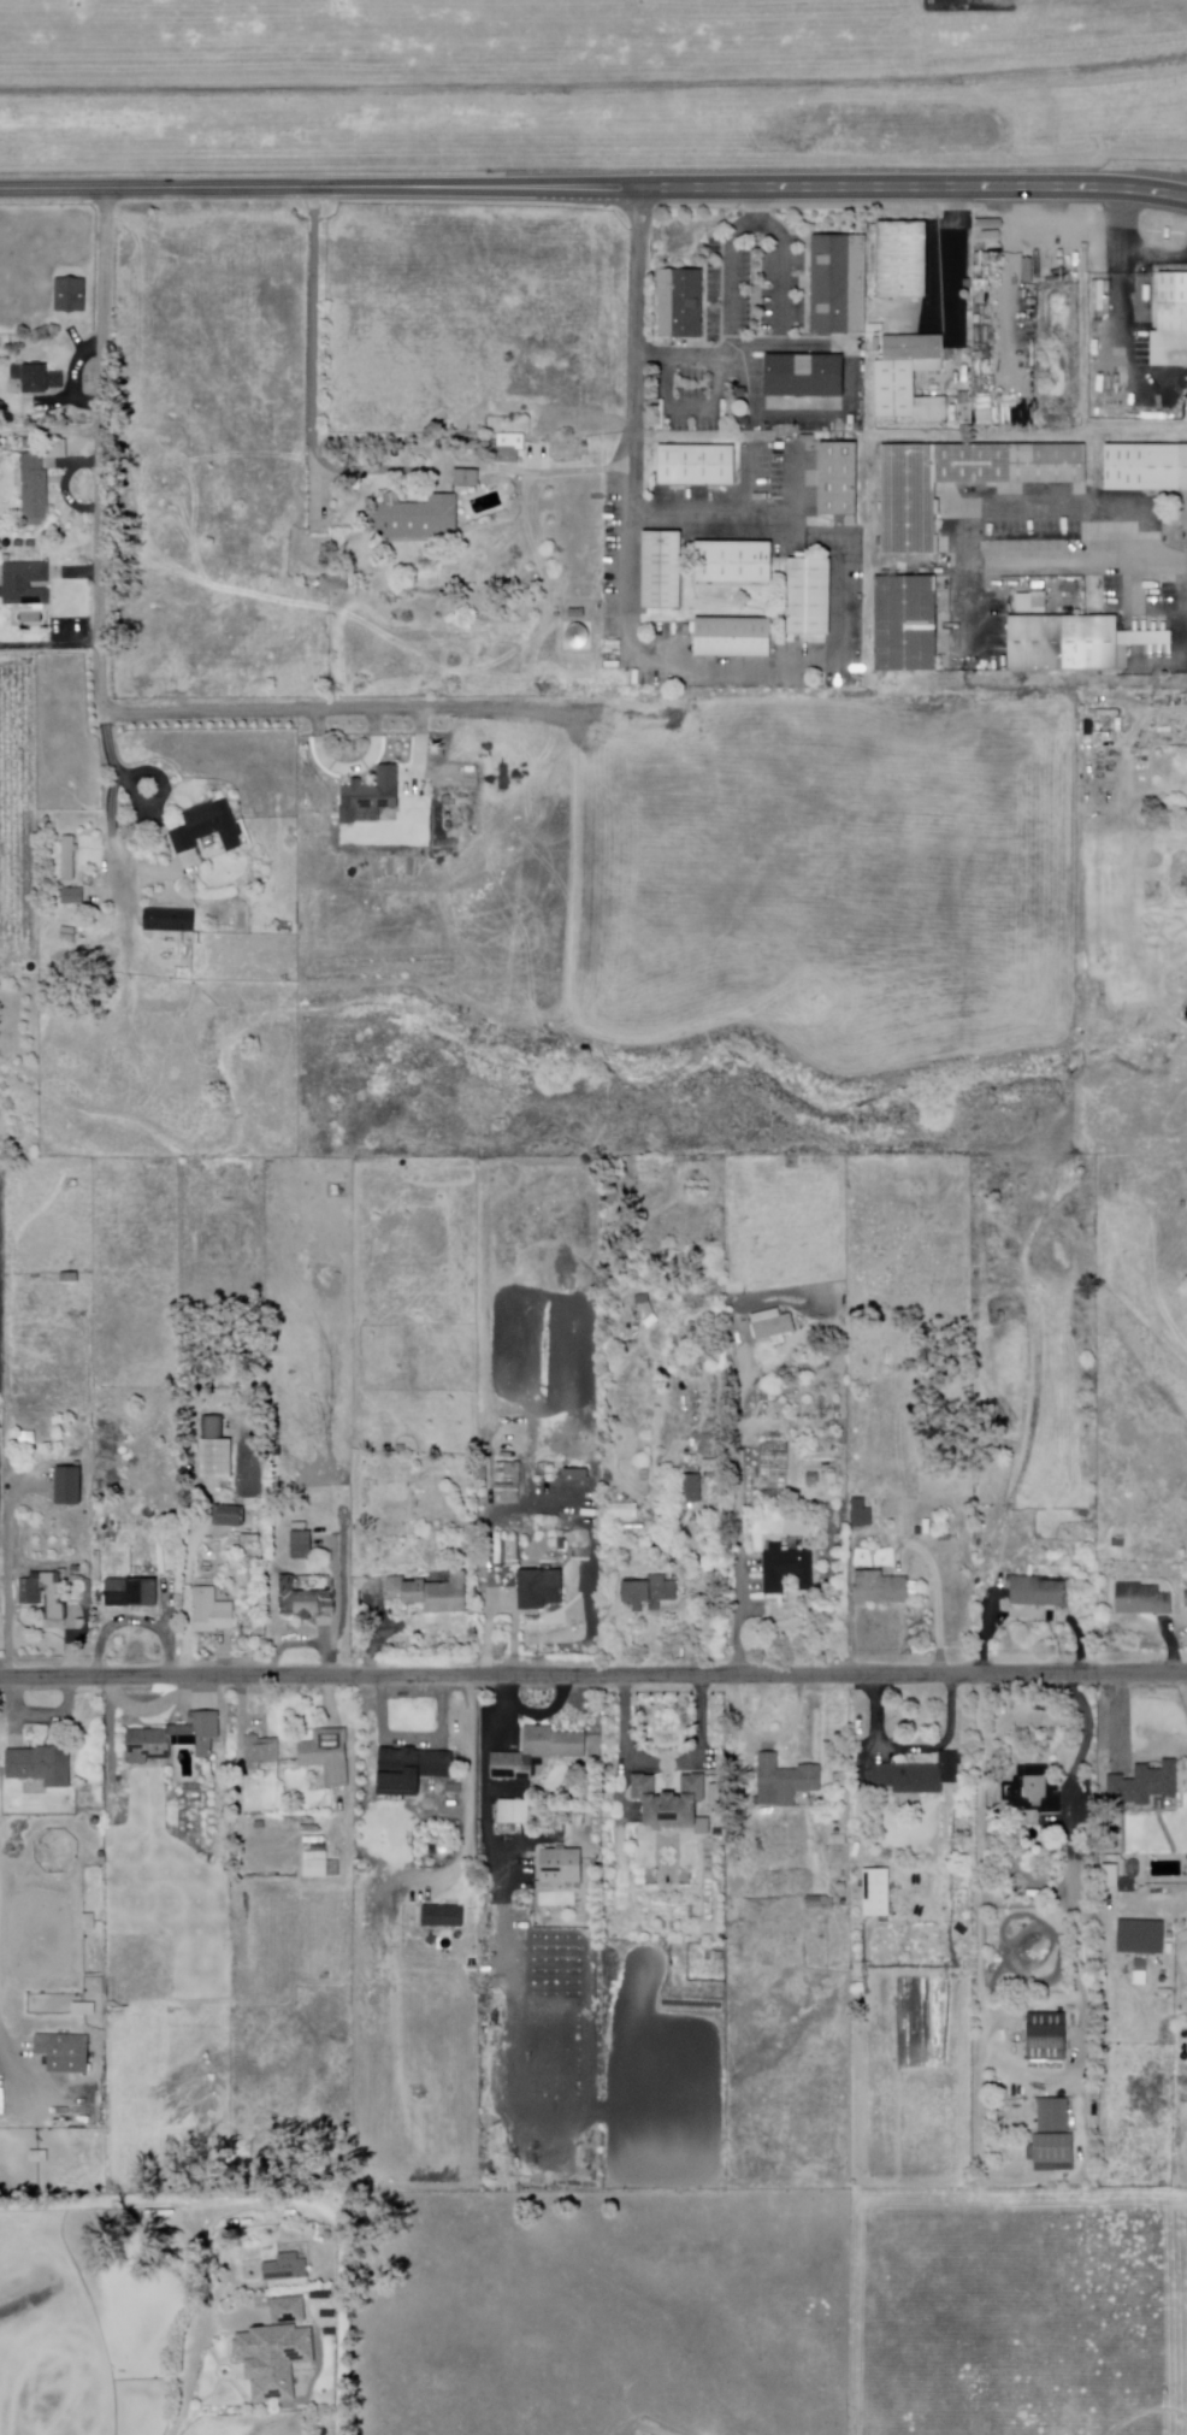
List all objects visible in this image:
airport: (589, 82)
road: (593, 84)
road: (593, 188)
building: (902, 260)
building: (839, 285)
building: (70, 295)
building: (1144, 299)
building: (680, 303)
building: (1171, 322)
road: (637, 348)
building: (804, 376)
building: (36, 378)
building: (908, 378)
road: (313, 383)
building: (1116, 400)
building: (1186, 405)
building: (738, 411)
building: (986, 412)
building: (515, 448)
building: (961, 464)
building: (1009, 464)
building: (1059, 464)
building: (696, 466)
building: (1146, 467)
building: (466, 479)
building: (839, 482)
building: (34, 485)
building: (909, 500)
road: (1016, 505)
building: (417, 518)
road: (104, 548)
road: (1057, 560)
road: (1165, 560)
building: (733, 562)
building: (662, 570)
building: (24, 583)
building: (333, 583)
building: (809, 597)
building: (905, 600)
building: (734, 638)
building: (1037, 643)
building: (1091, 643)
building: (905, 647)
road: (352, 708)
road: (163, 792)
building: (370, 795)
building: (207, 827)
building: (65, 865)
road: (149, 871)
crop: (832, 880)
road: (110, 892)
building: (67, 900)
building: (169, 919)
building: (1081, 1172)
building: (1185, 1173)
storage tank: (73, 1184)
building: (1117, 1190)
building: (342, 1192)
building: (772, 1326)
building: (215, 1460)
building: (482, 1472)
building: (591, 1476)
building: (832, 1476)
building: (509, 1486)
building: (67, 1487)
building: (708, 1488)
building: (689, 1490)
road: (738, 1499)
building: (622, 1510)
building: (861, 1515)
building: (236, 1522)
building: (301, 1546)
building: (98, 1567)
building: (787, 1569)
building: (880, 1588)
building: (539, 1590)
building: (1039, 1592)
building: (131, 1593)
building: (430, 1593)
building: (648, 1593)
building: (1186, 1596)
building: (42, 1597)
building: (308, 1597)
building: (1141, 1600)
building: (209, 1610)
road: (593, 1675)
building: (173, 1739)
building: (16, 1741)
building: (261, 1753)
building: (536, 1753)
building: (327, 1756)
building: (40, 1764)
building: (412, 1770)
building: (920, 1775)
building: (784, 1782)
building: (1145, 1787)
building: (1033, 1791)
building: (672, 1804)
building: (514, 1812)
building: (320, 1865)
building: (561, 1867)
building: (1111, 1876)
building: (879, 1893)
building: (815, 1903)
road: (1156, 1904)
road: (980, 1912)
building: (443, 1916)
building: (1142, 1938)
building: (1050, 2038)
road: (5, 2051)
building: (64, 2052)
building: (1053, 2138)
building: (285, 2269)
building: (290, 2307)
building: (273, 2360)
road: (194, 2380)
storage tank: (323, 2431)

